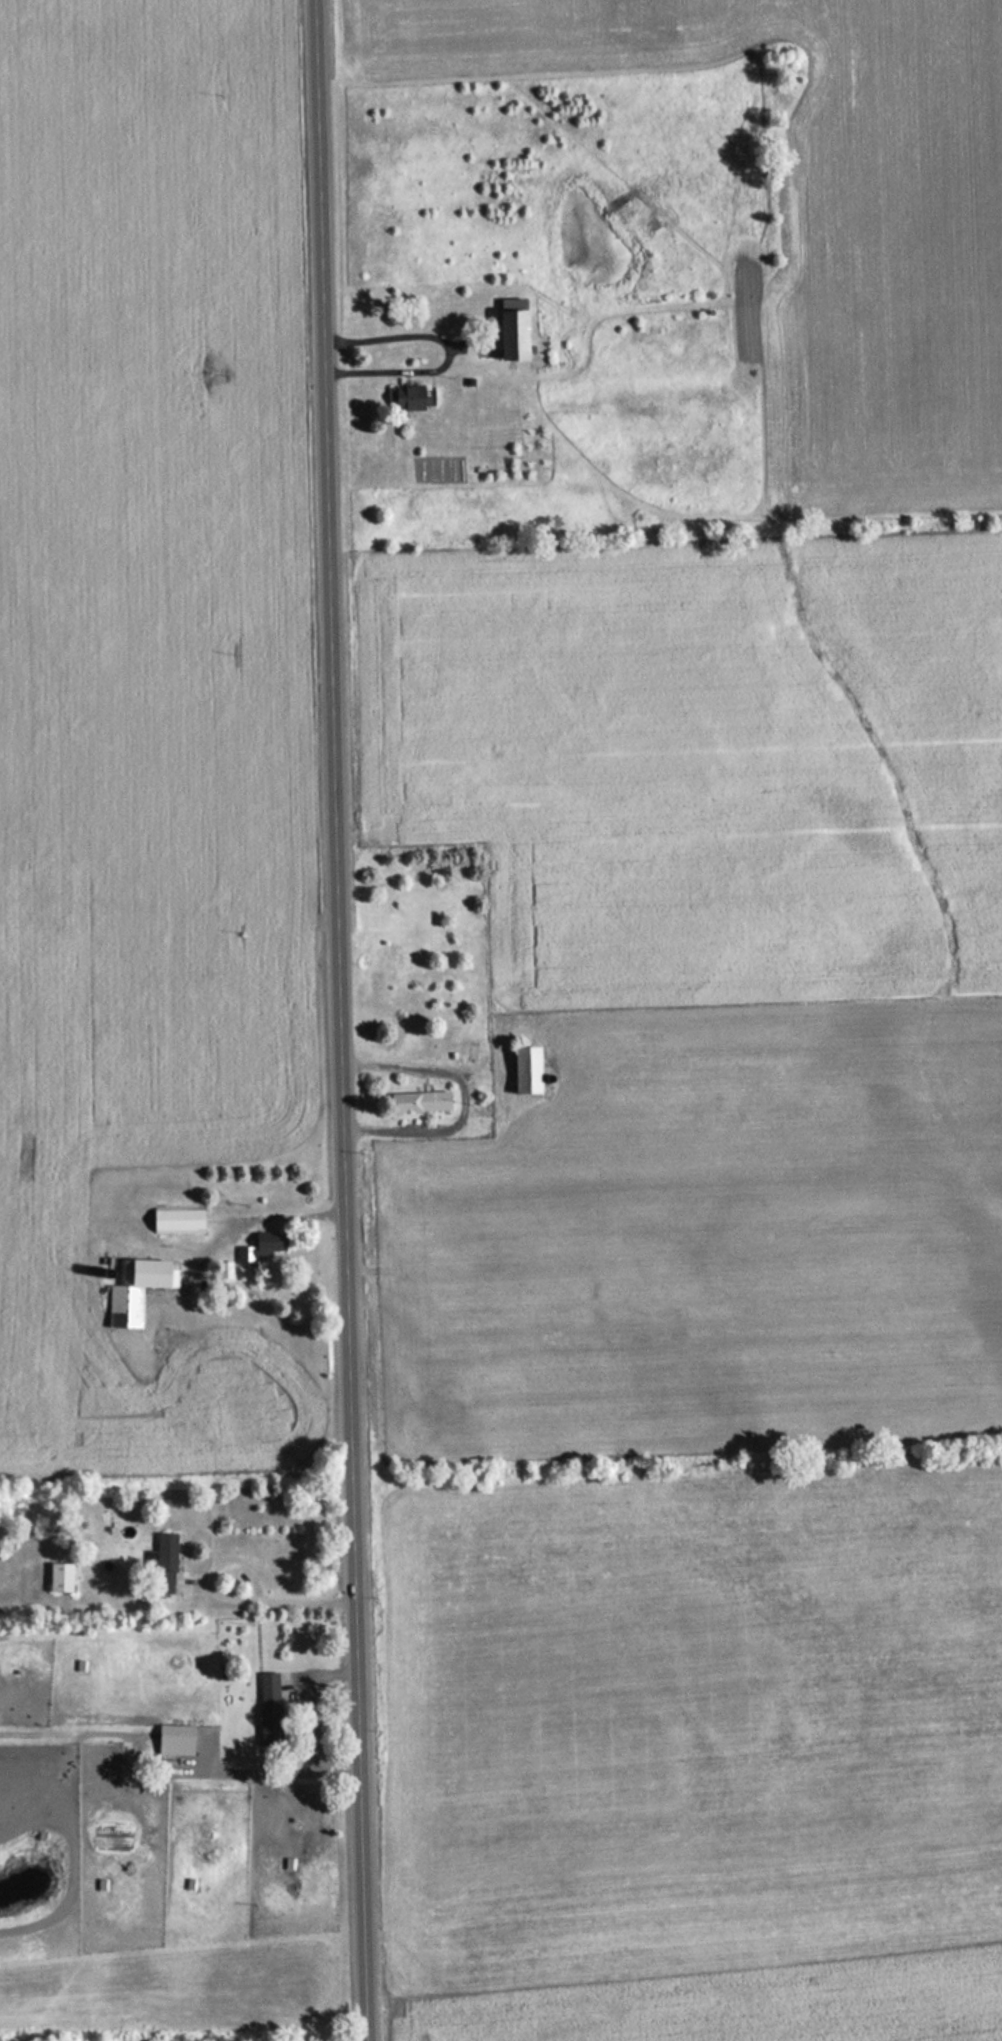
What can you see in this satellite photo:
building: (511, 335)
building: (406, 398)
road: (338, 1020)
building: (525, 1069)
building: (419, 1101)
building: (176, 1220)
building: (261, 1246)
building: (135, 1289)
building: (164, 1561)
building: (59, 1576)
building: (268, 1708)
building: (174, 1739)

